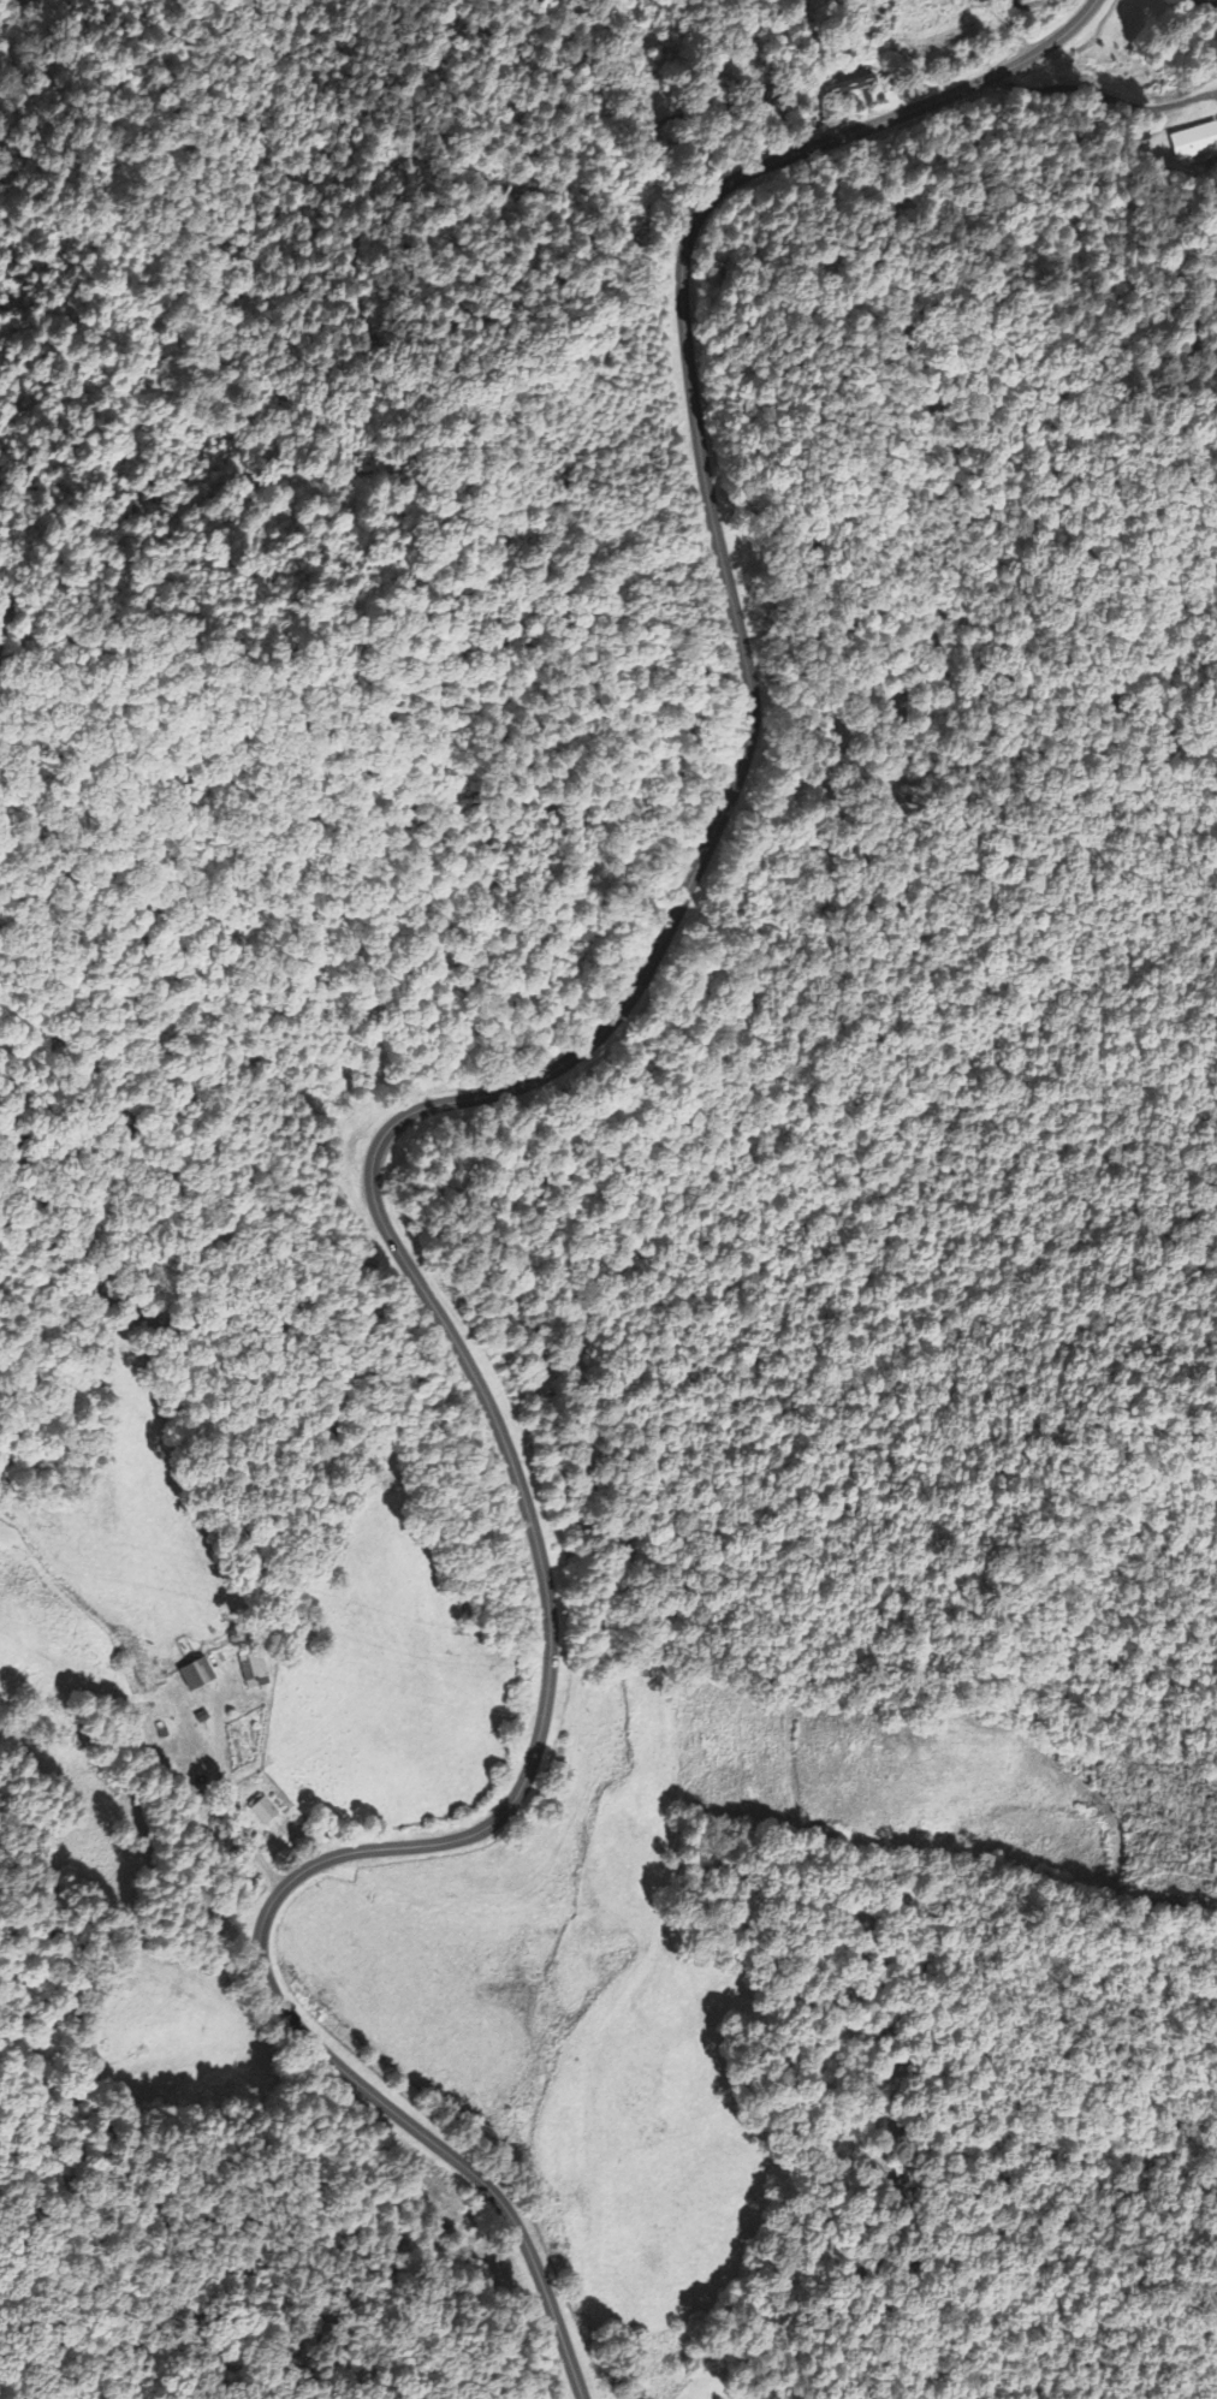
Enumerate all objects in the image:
building: (1209, 4)
building: (850, 85)
building: (1193, 144)
road: (403, 1158)
building: (201, 1680)
building: (265, 1815)

